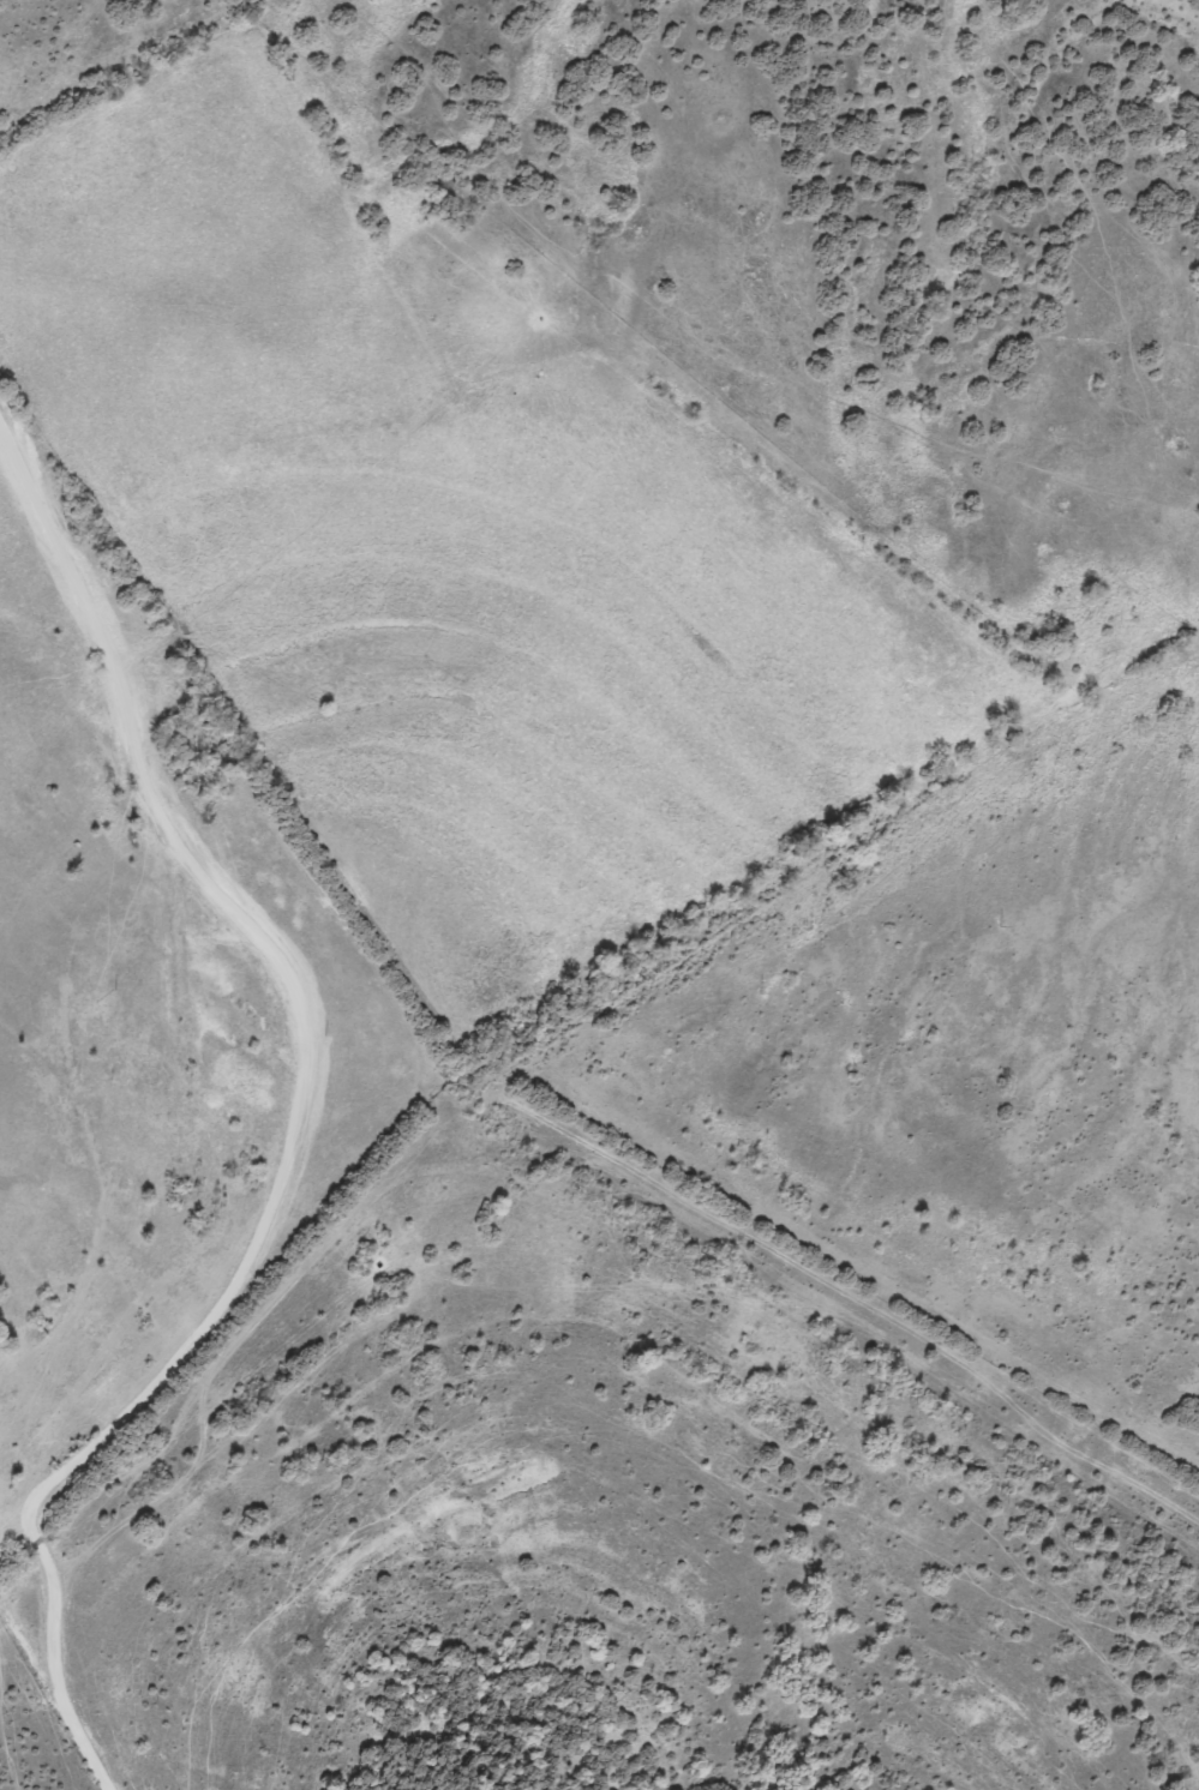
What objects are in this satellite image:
road: (330, 1125)

